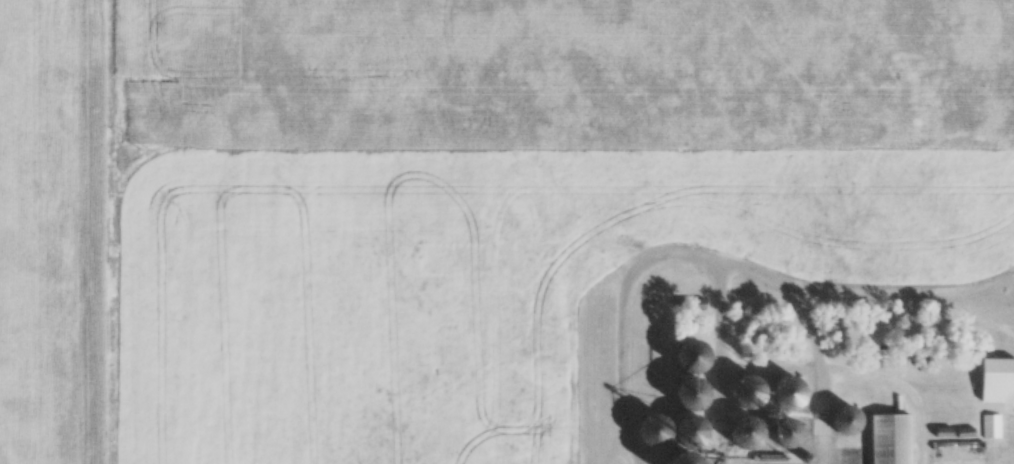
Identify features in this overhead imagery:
power tower: (147, 149)
building: (524, 246)
building: (605, 262)
building: (524, 280)
building: (603, 292)
building: (523, 297)
building: (604, 323)
building: (524, 330)
building: (524, 348)
building: (524, 366)
building: (604, 371)
building: (997, 381)
building: (525, 383)
building: (605, 385)
building: (603, 401)
building: (692, 401)
building: (889, 401)
building: (529, 408)
building: (992, 427)
building: (759, 428)
building: (529, 429)
building: (683, 431)
building: (884, 434)
building: (526, 450)
building: (960, 452)
building: (695, 458)
building: (616, 461)

